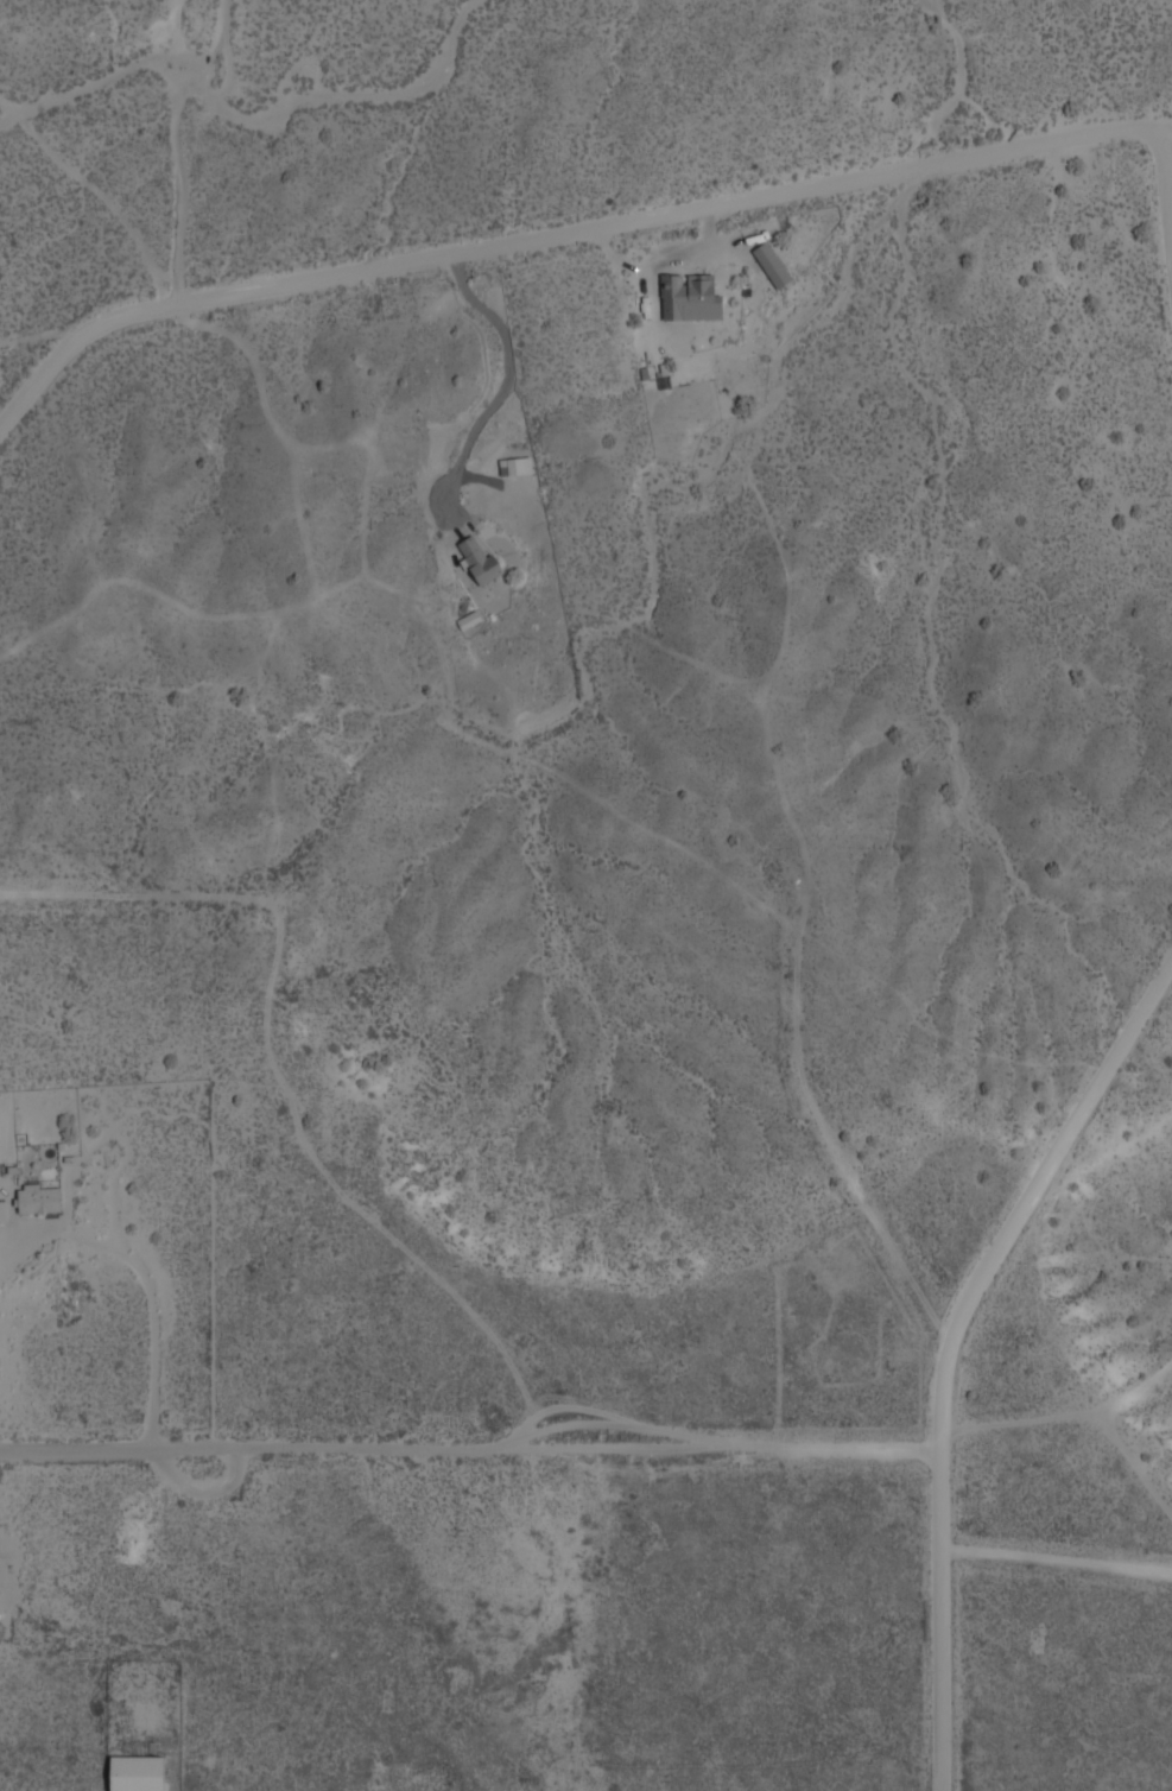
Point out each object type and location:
road: (1164, 128)
road: (1164, 189)
road: (553, 234)
building: (773, 264)
building: (689, 295)
building: (519, 464)
building: (479, 558)
building: (469, 618)
road: (141, 898)
road: (838, 1166)
building: (39, 1198)
building: (2, 1205)
road: (946, 1343)
road: (468, 1449)
road: (1054, 1558)
building: (138, 1772)

